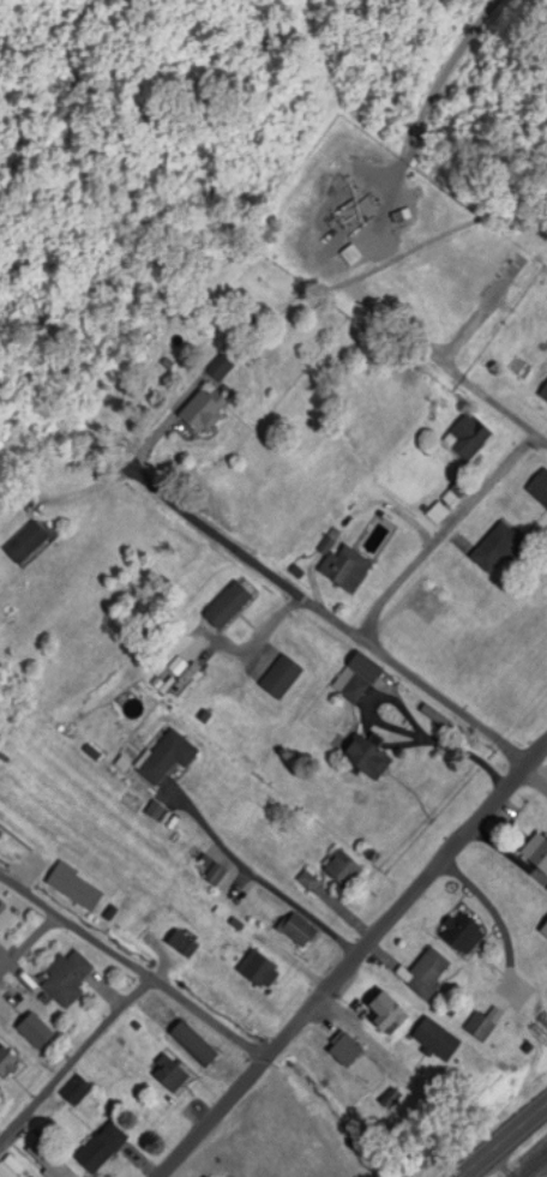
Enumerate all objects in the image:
road: (422, 102)
building: (313, 242)
building: (218, 371)
road: (455, 373)
building: (543, 396)
building: (202, 415)
building: (468, 440)
building: (539, 490)
road: (445, 535)
building: (24, 545)
building: (497, 552)
building: (344, 571)
building: (227, 608)
road: (333, 619)
building: (279, 680)
building: (355, 680)
building: (167, 761)
building: (365, 762)
building: (536, 855)
building: (341, 870)
building: (215, 877)
road: (26, 889)
building: (73, 889)
building: (5, 921)
building: (295, 931)
building: (461, 935)
road: (26, 936)
building: (181, 947)
road: (355, 962)
building: (257, 972)
building: (66, 980)
road: (157, 983)
building: (157, 1010)
building: (384, 1014)
building: (482, 1026)
building: (34, 1032)
building: (434, 1040)
building: (191, 1045)
building: (343, 1051)
road: (77, 1062)
building: (7, 1067)
building: (168, 1075)
building: (76, 1092)
road: (513, 1148)
building: (100, 1149)
building: (54, 1170)
building: (5, 1171)
railway: (540, 1171)

